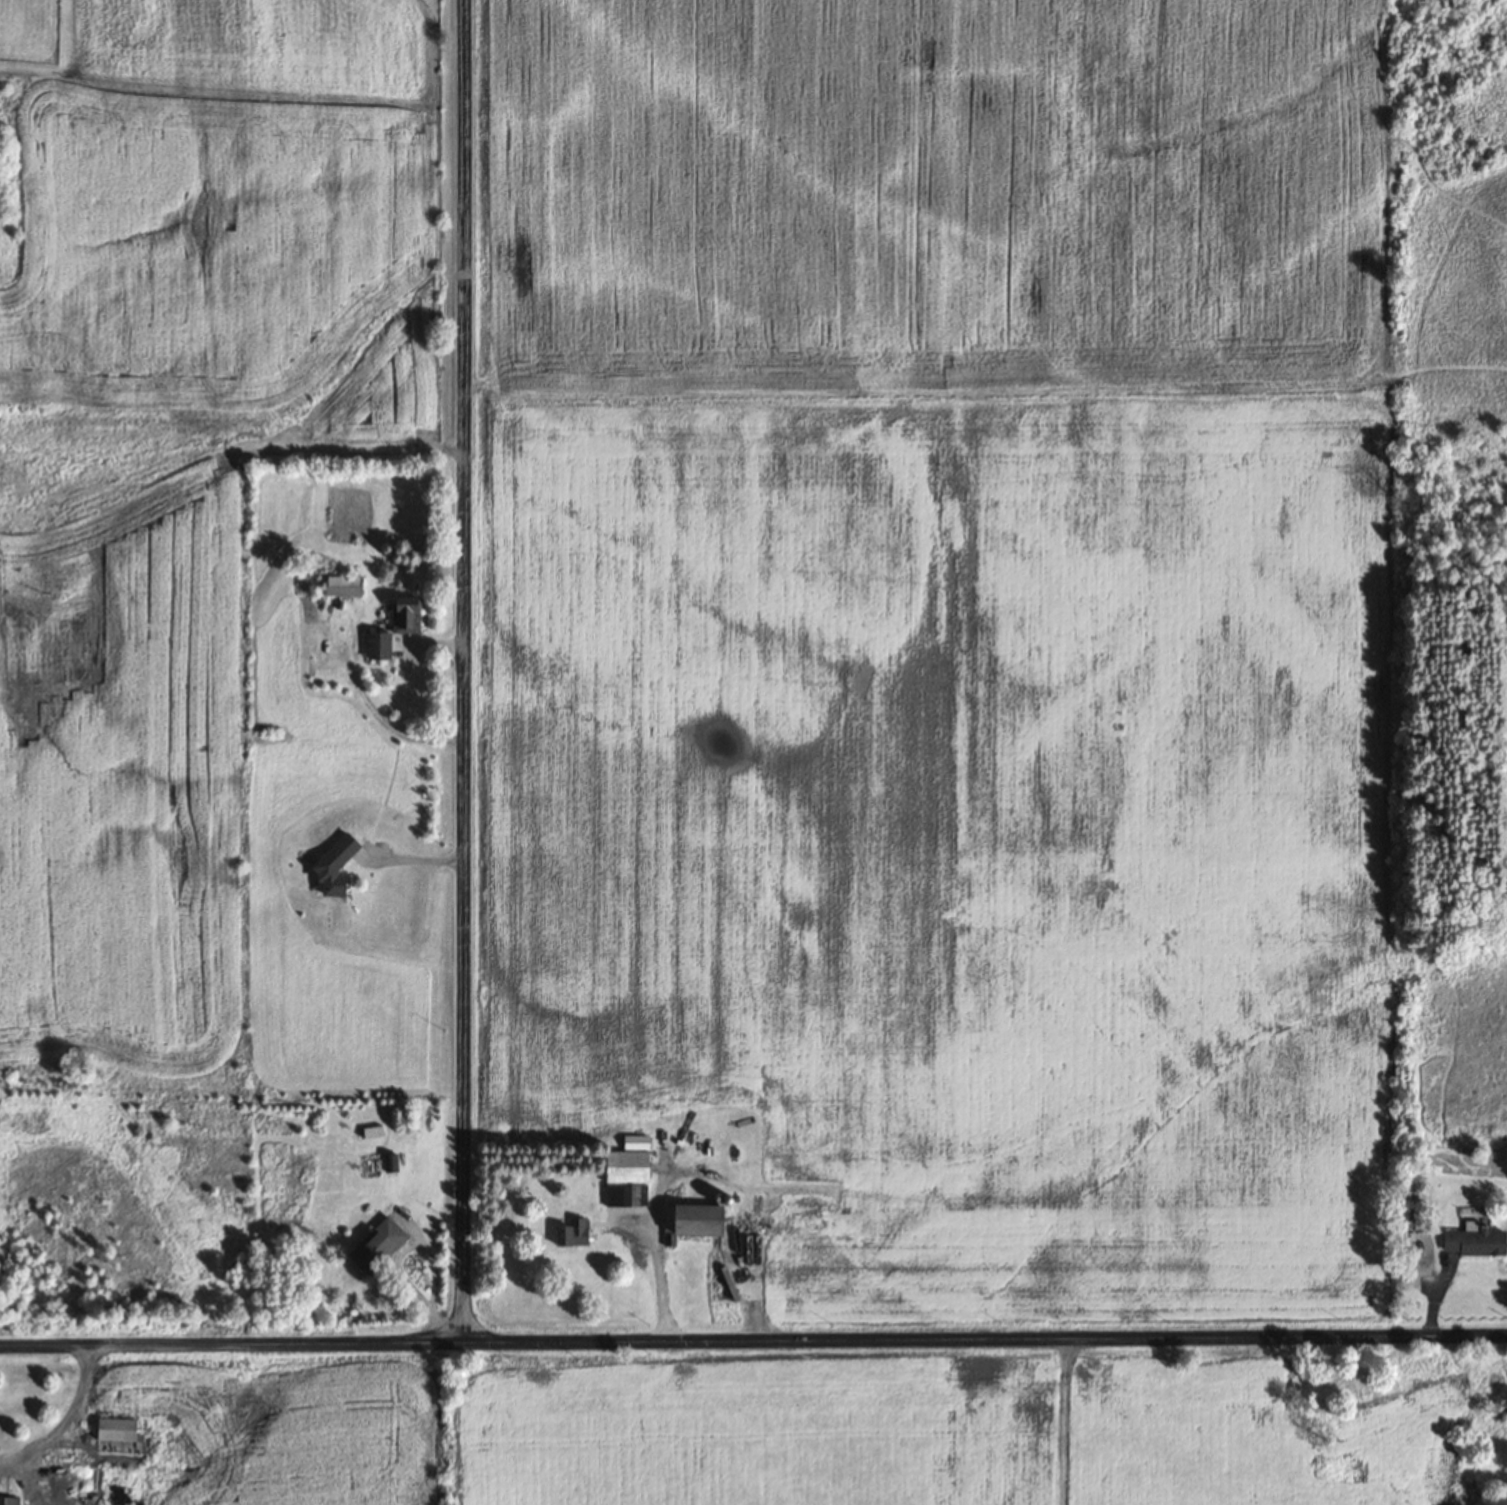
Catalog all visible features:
building: (342, 584)
building: (405, 614)
building: (376, 645)
road: (464, 670)
building: (333, 864)
building: (371, 1131)
building: (389, 1162)
building: (627, 1162)
building: (622, 1196)
building: (691, 1220)
building: (571, 1233)
building: (1474, 1241)
building: (377, 1243)
road: (753, 1341)
road: (63, 1417)
building: (115, 1430)
building: (8, 1501)

